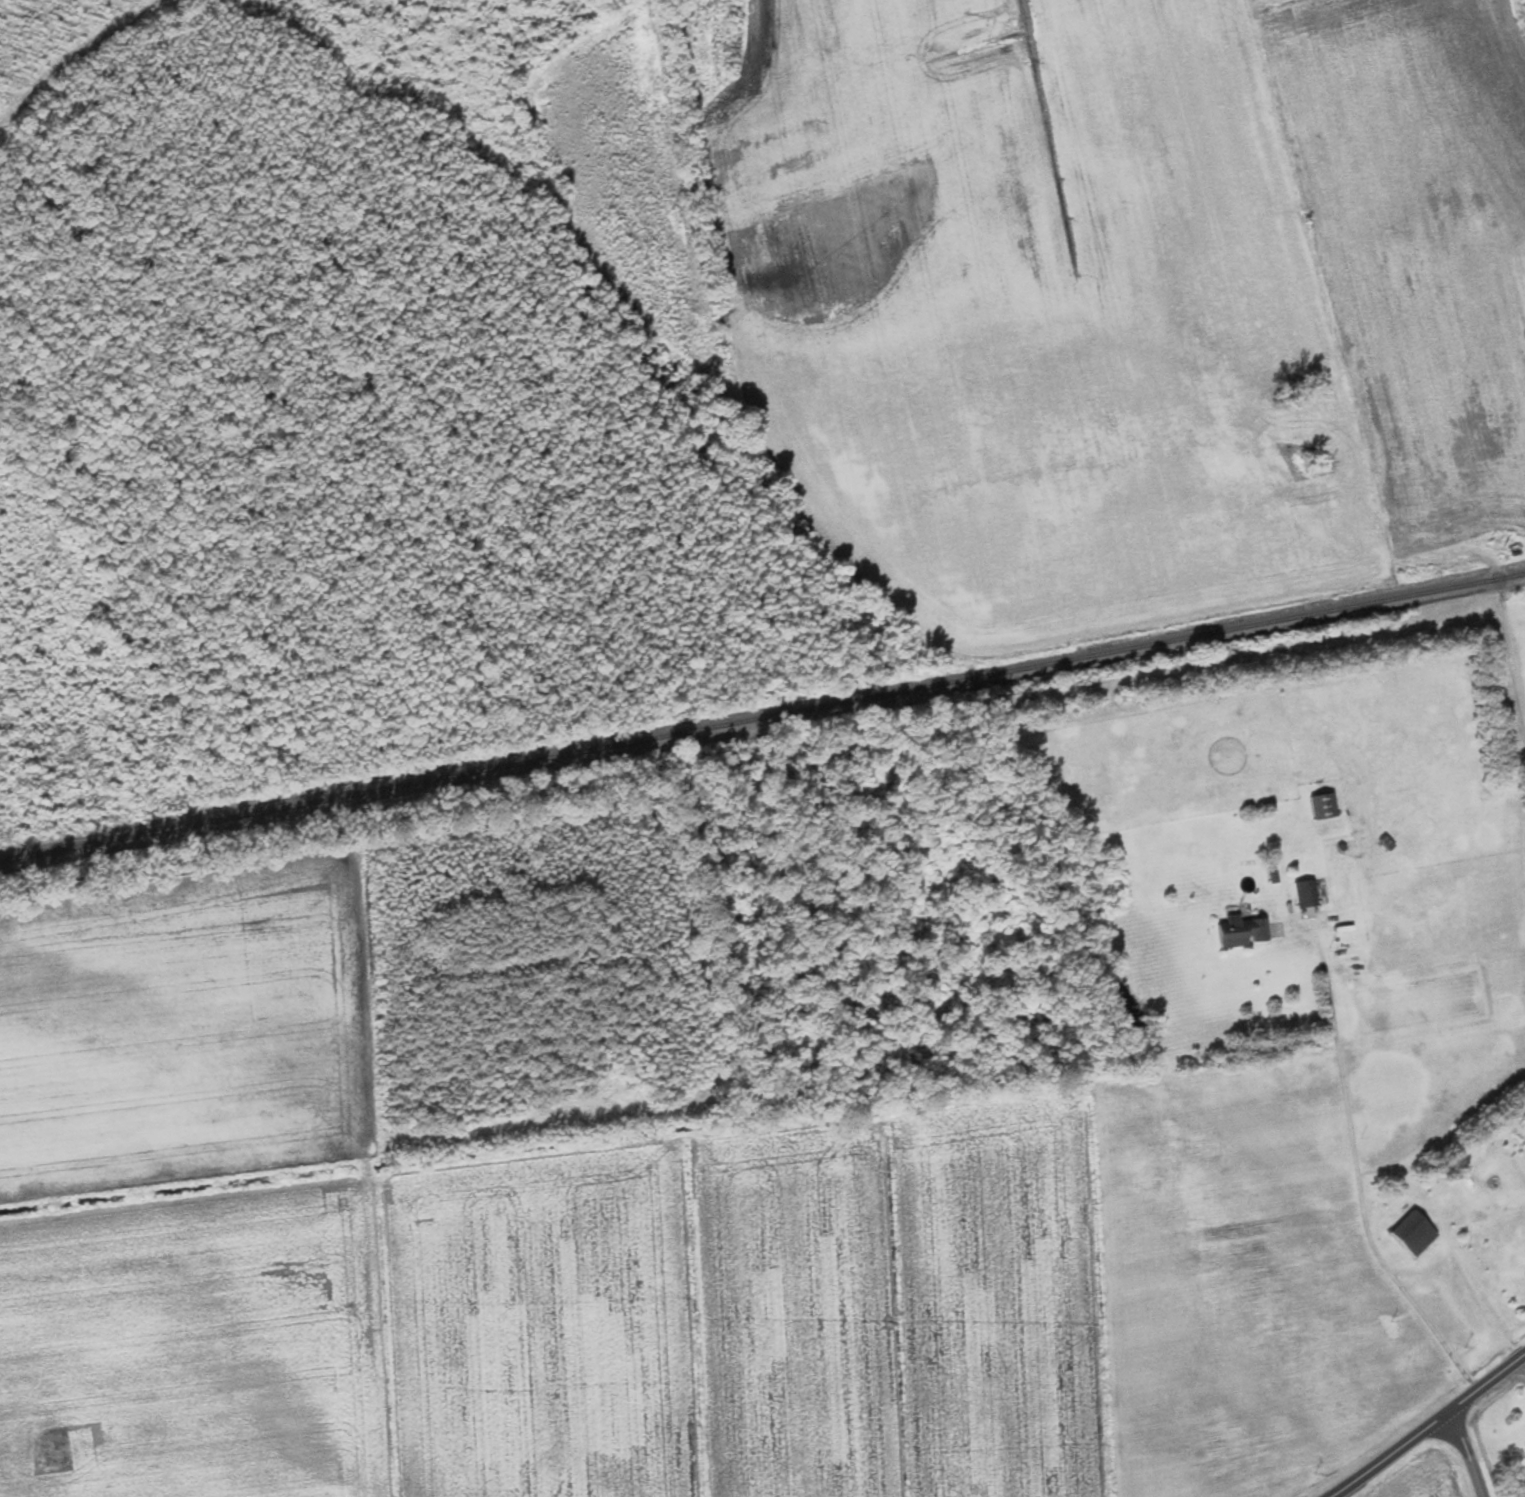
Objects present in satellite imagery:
road: (1487, 510)
road: (1351, 570)
railway: (762, 717)
building: (1325, 807)
building: (1307, 894)
building: (1244, 932)
building: (1416, 1234)
road: (1428, 1428)
road: (1468, 1453)

